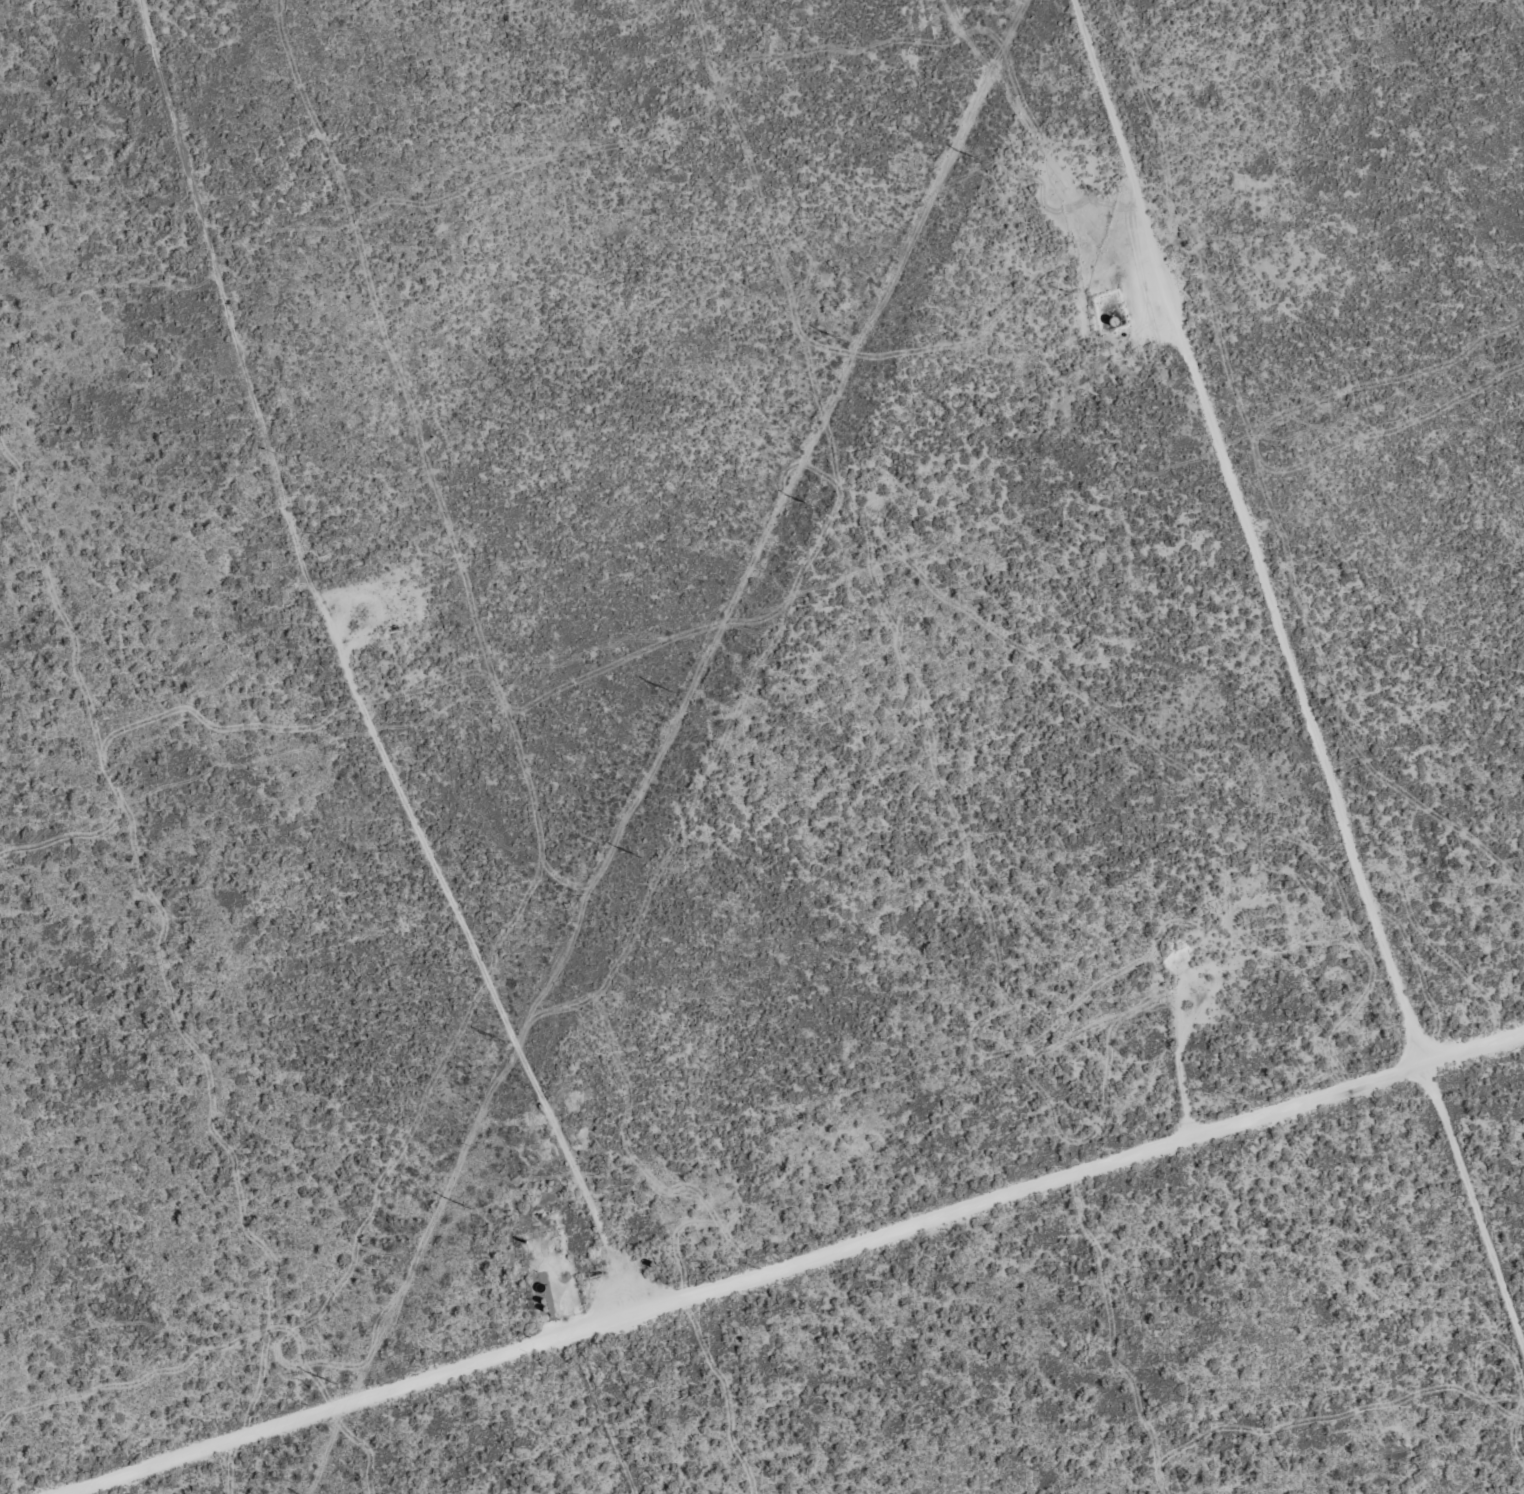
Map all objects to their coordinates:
power tower: (976, 159)
power tower: (838, 339)
power tower: (808, 505)
road: (384, 673)
road: (1300, 678)
power tower: (667, 692)
power tower: (638, 856)
power tower: (498, 1040)
power tower: (467, 1208)
road: (838, 1266)
power tower: (330, 1384)
road: (618, 1424)

